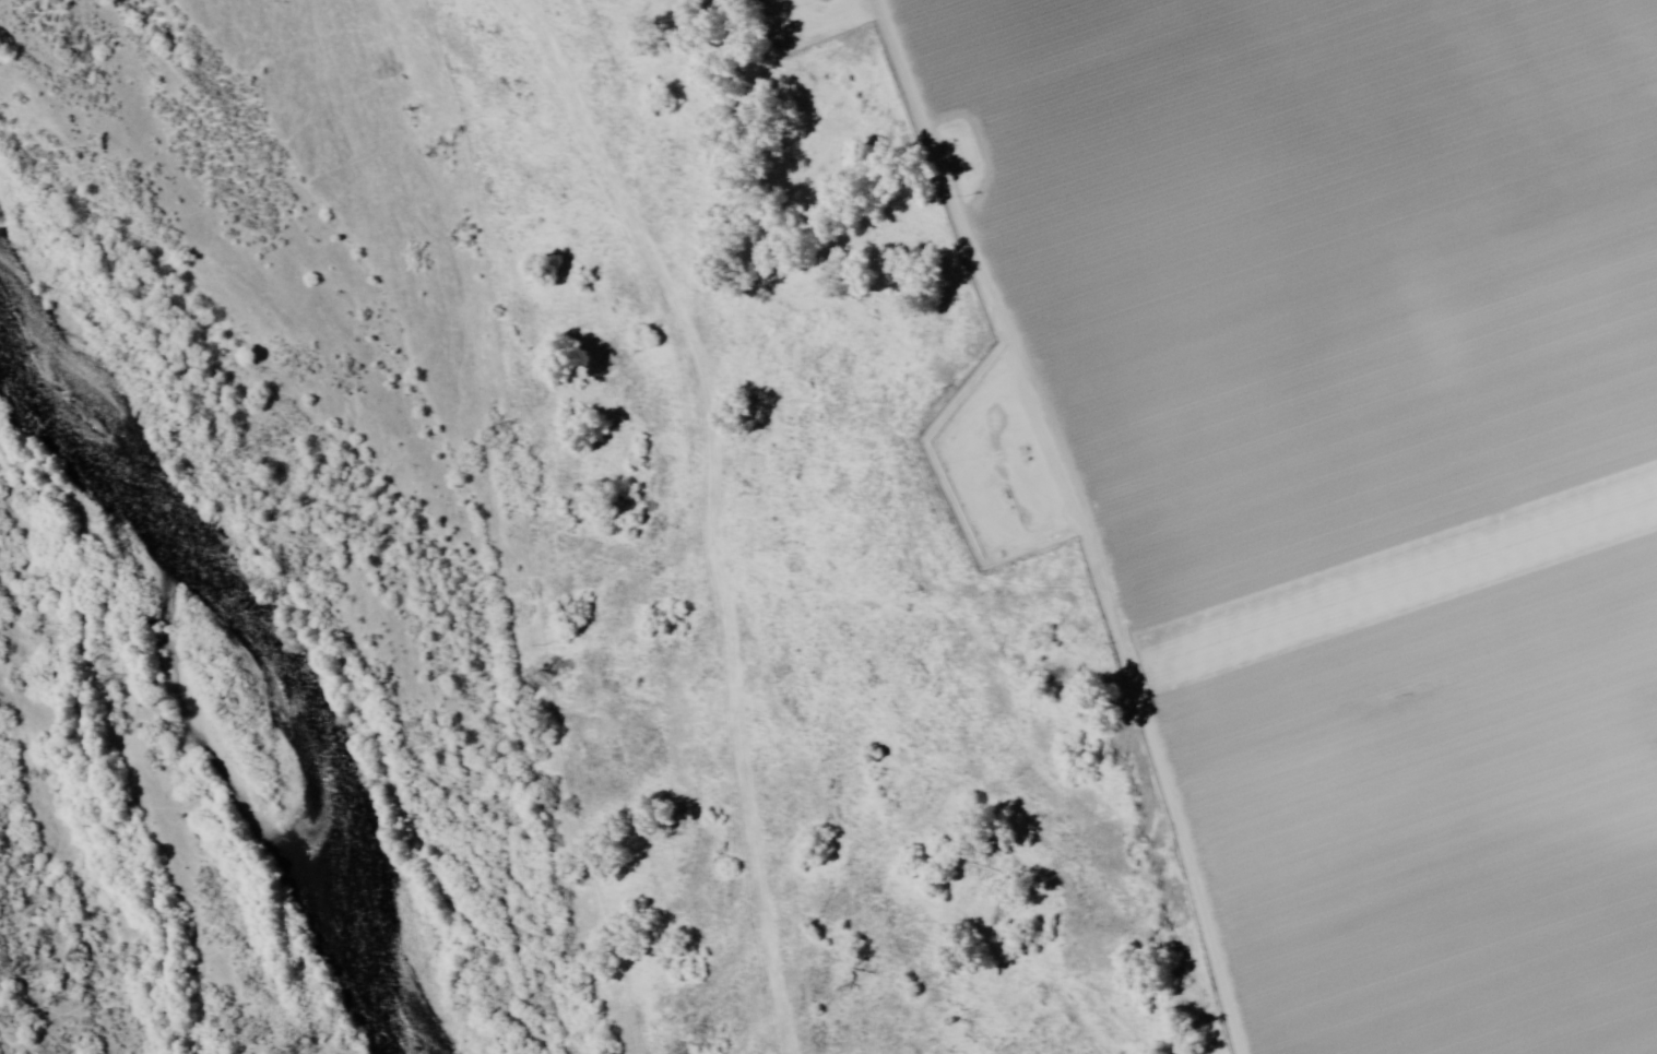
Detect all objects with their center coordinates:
crop: (1352, 473)
road: (504, 514)
river: (209, 642)

